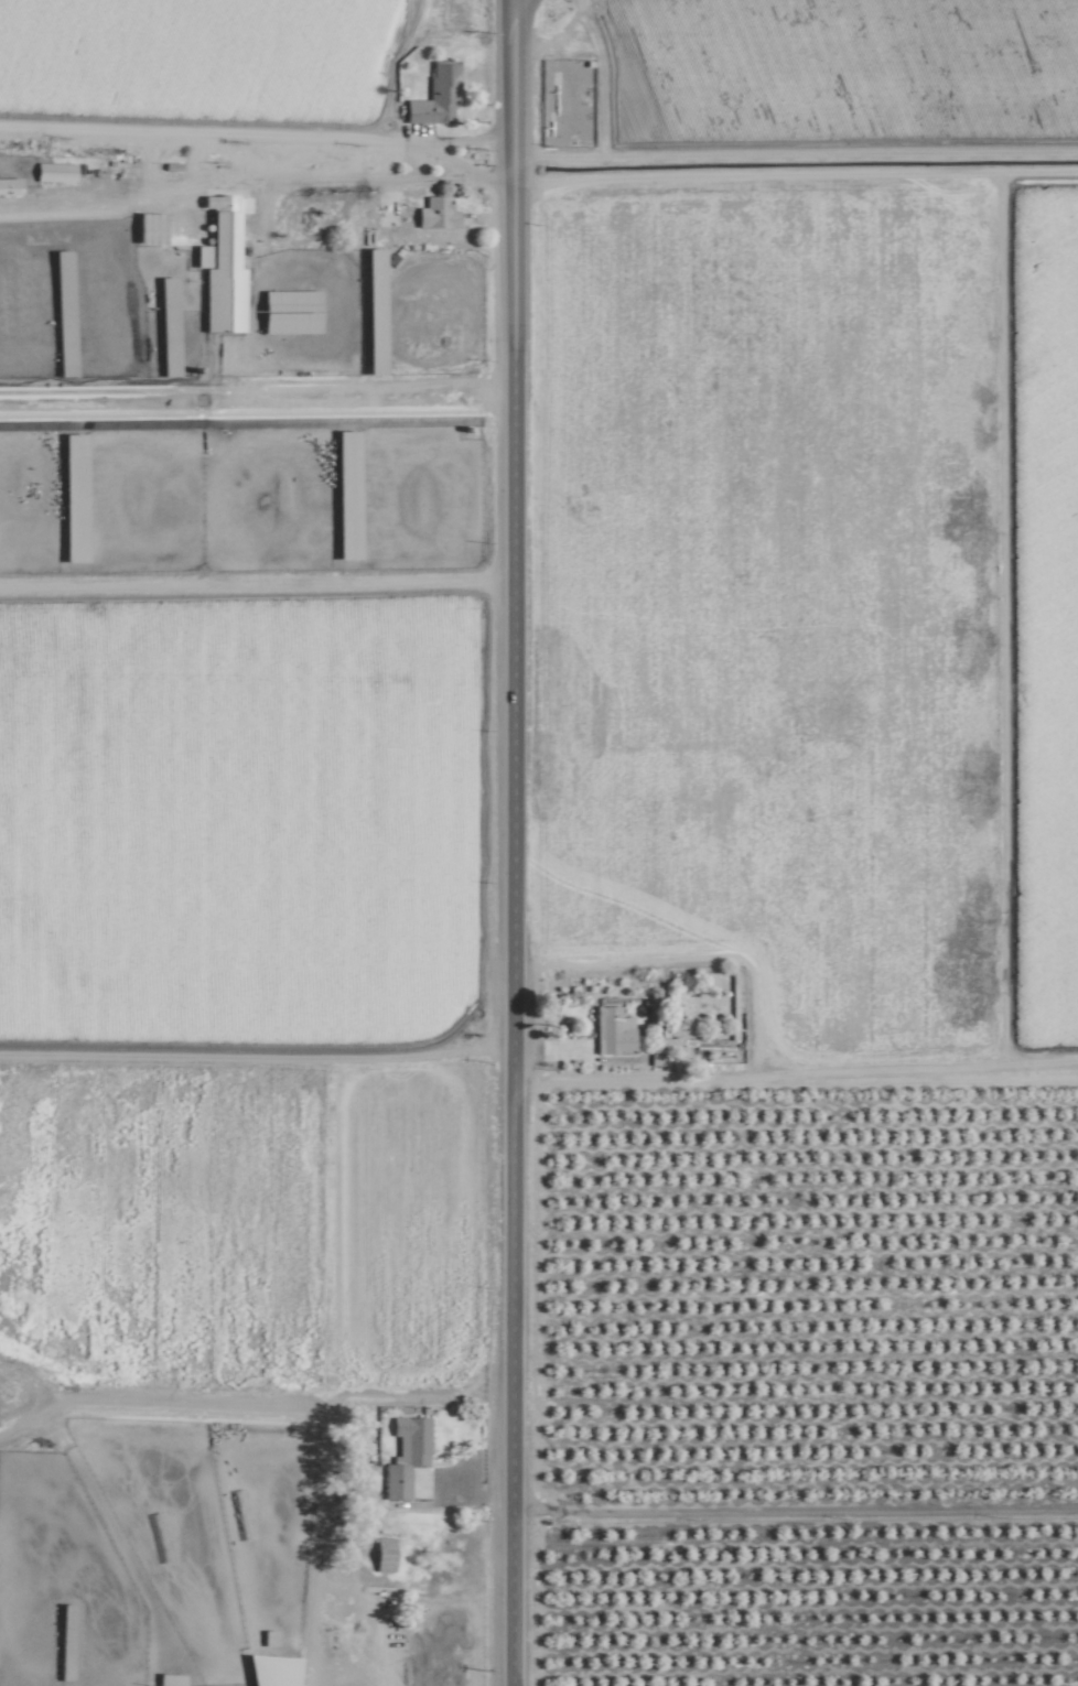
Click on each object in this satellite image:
building: (433, 96)
building: (52, 172)
building: (0, 183)
road: (375, 184)
road: (128, 208)
building: (434, 213)
building: (219, 272)
building: (164, 295)
building: (287, 312)
road: (993, 375)
road: (505, 842)
road: (690, 954)
building: (611, 1030)
road: (793, 1072)
building: (403, 1455)
road: (790, 1510)
building: (380, 1554)
building: (63, 1666)
building: (270, 1671)

